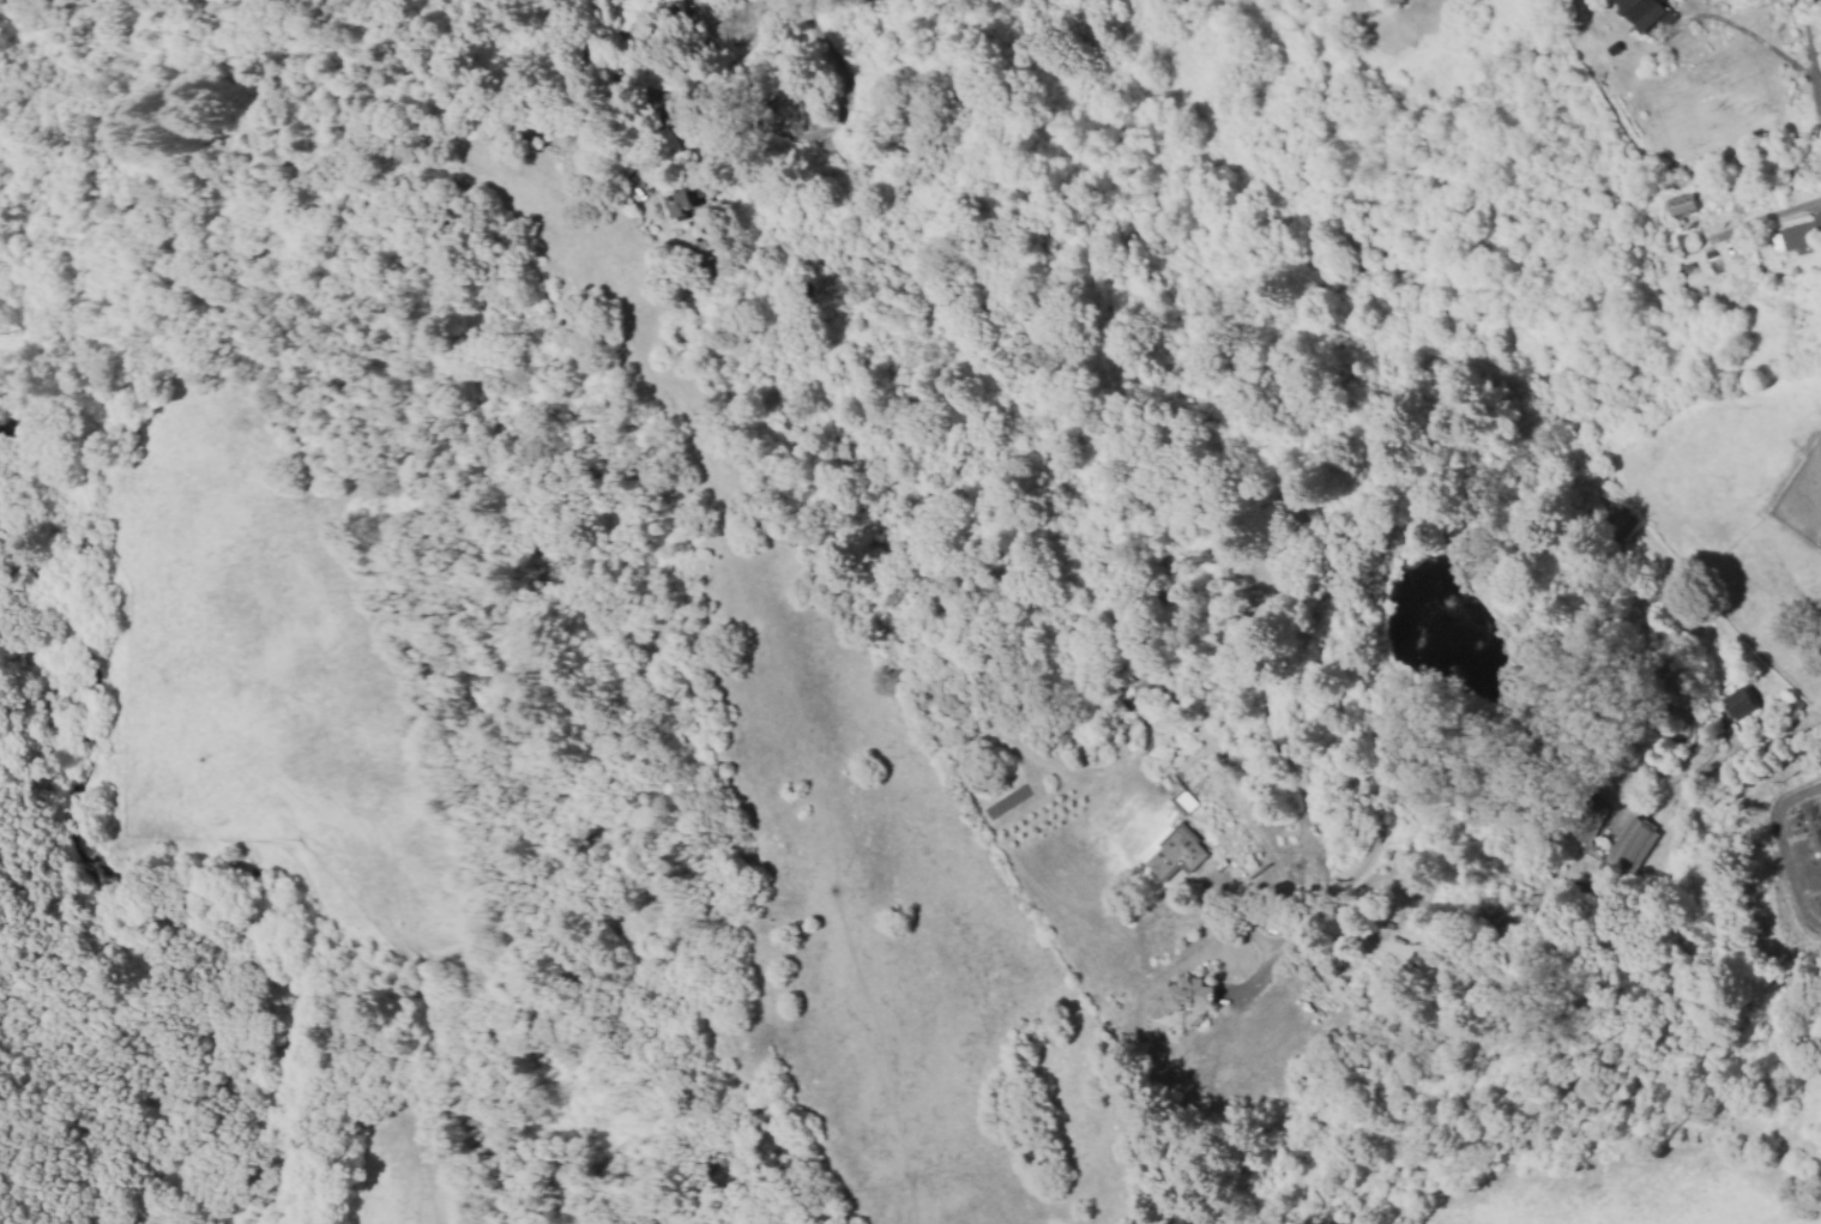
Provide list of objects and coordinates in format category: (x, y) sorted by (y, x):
building: (679, 8)
building: (1646, 12)
building: (683, 201)
building: (1681, 206)
building: (1799, 236)
building: (698, 251)
building: (1738, 704)
road: (1766, 753)
building: (1582, 822)
building: (1629, 846)
power substation: (1797, 852)
building: (1175, 855)
building: (1178, 997)

